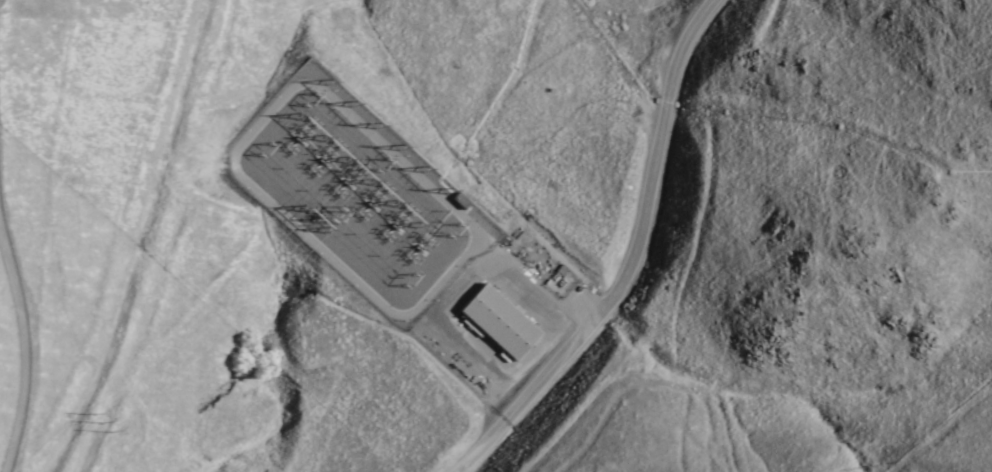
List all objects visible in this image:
power tower: (345, 96)
power tower: (314, 101)
power tower: (365, 119)
power tower: (269, 151)
power tower: (415, 161)
power tower: (389, 168)
power tower: (441, 184)
power substation: (358, 196)
power tower: (344, 219)
power tower: (317, 221)
power tower: (459, 231)
road: (633, 259)
power tower: (413, 281)
building: (498, 322)
power tower: (102, 423)

